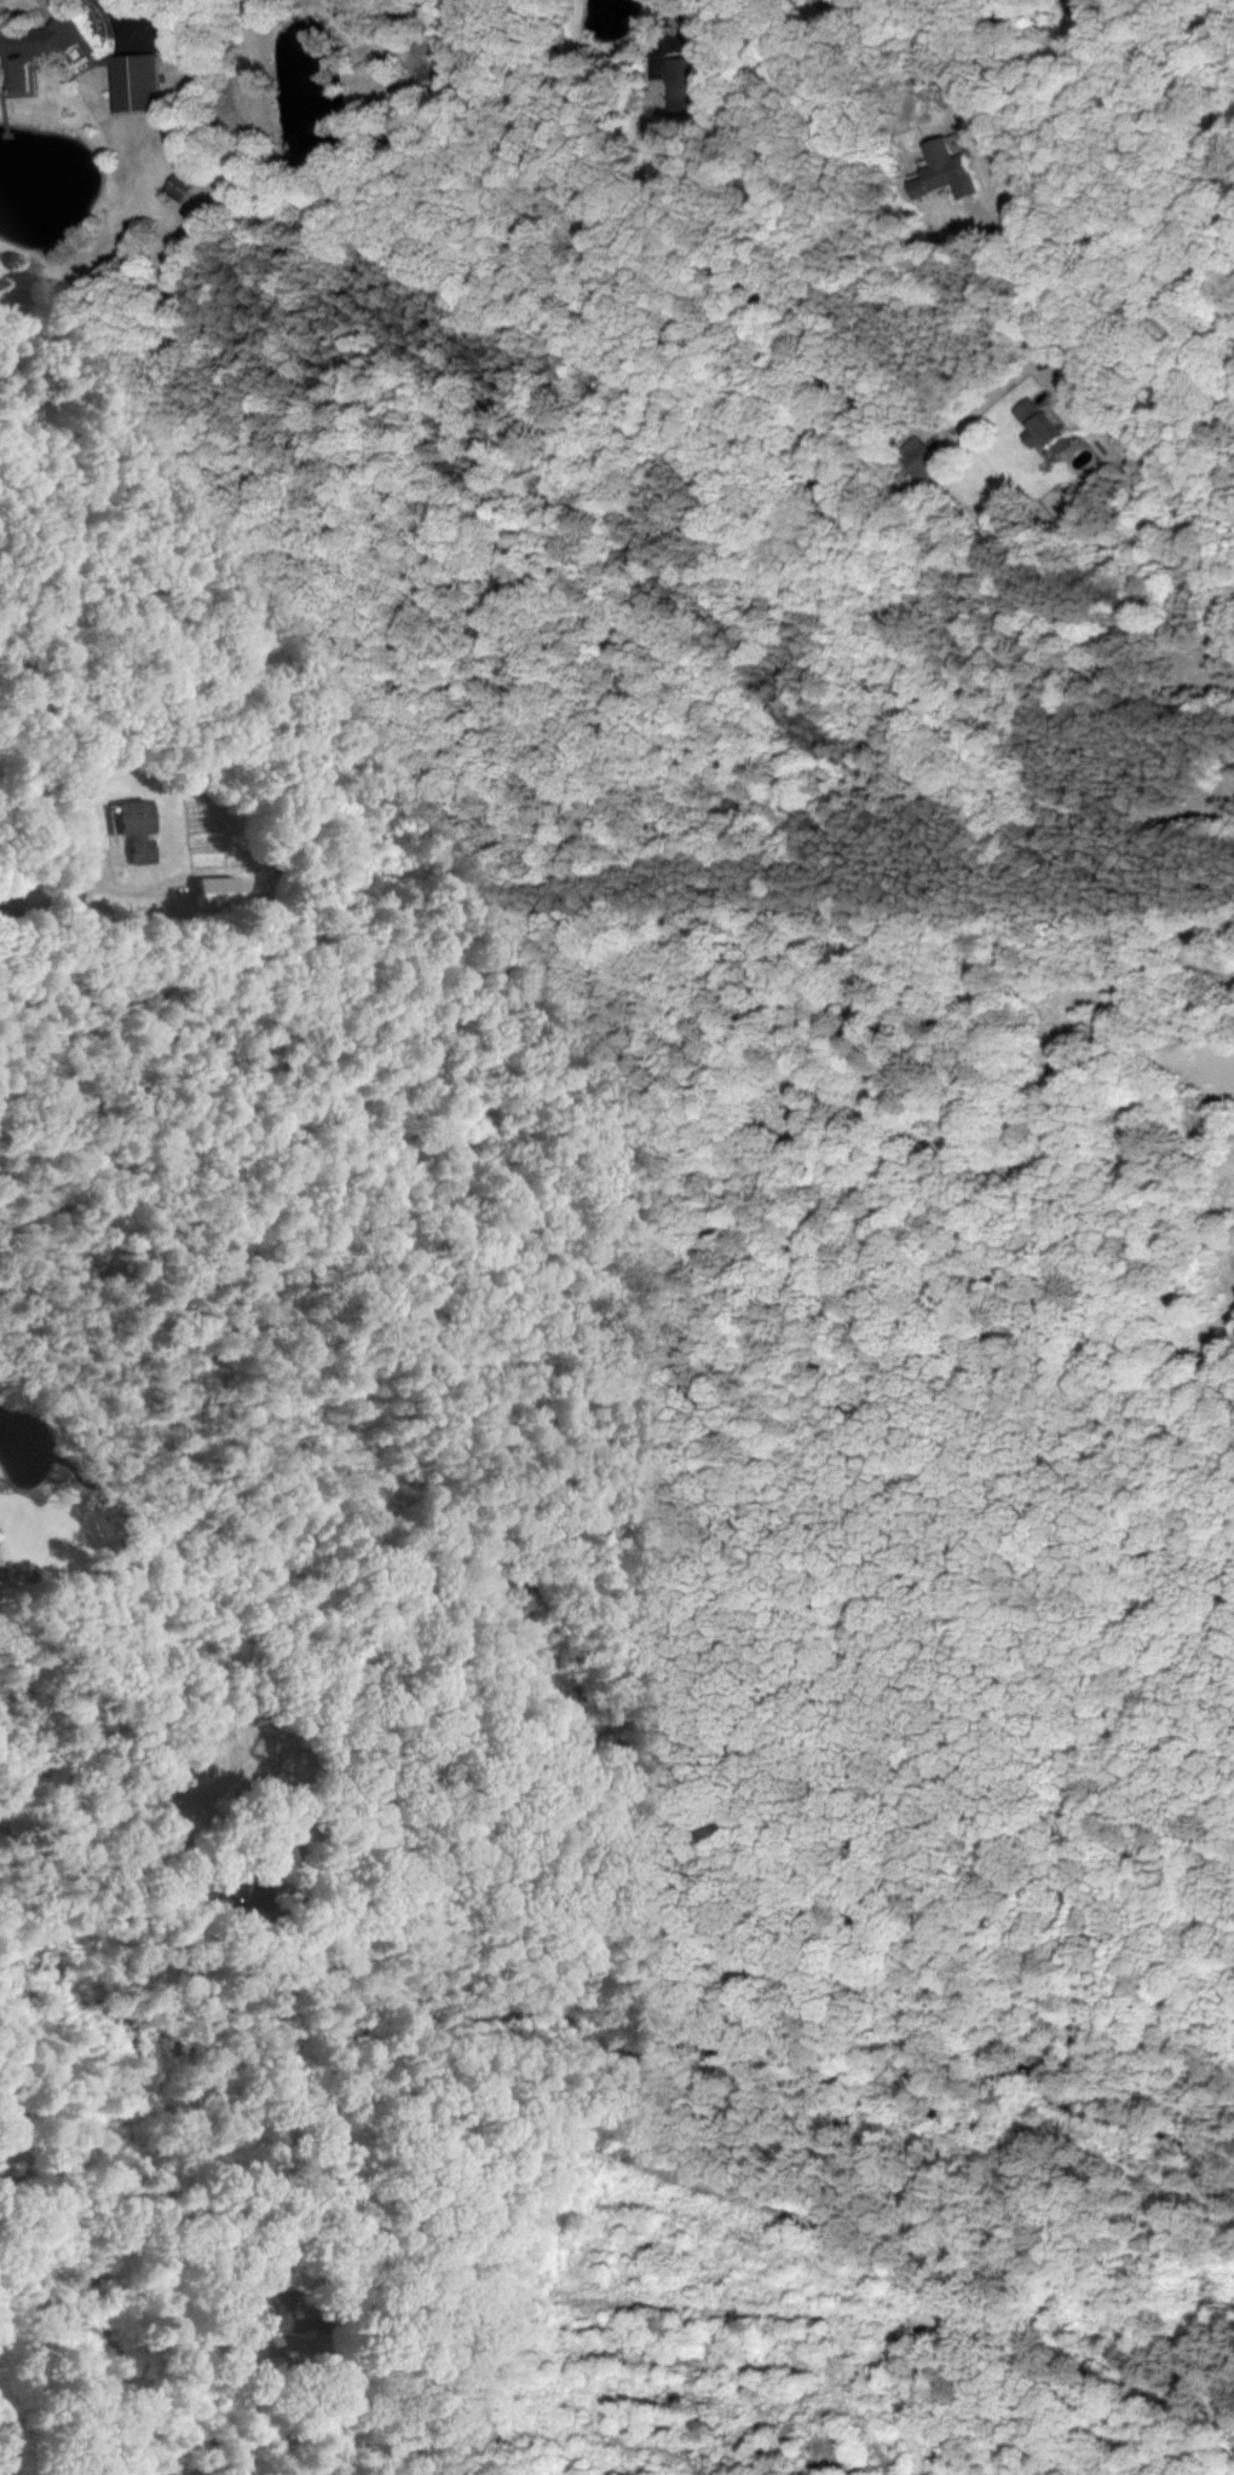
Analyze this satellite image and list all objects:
road: (122, 12)
building: (38, 50)
building: (132, 82)
building: (682, 87)
building: (941, 172)
building: (178, 186)
road: (1109, 230)
building: (1033, 423)
building: (918, 458)
building: (128, 830)
road: (30, 875)
building: (211, 890)
road: (74, 1841)
building: (232, 1891)
building: (276, 2319)
road: (292, 2423)

